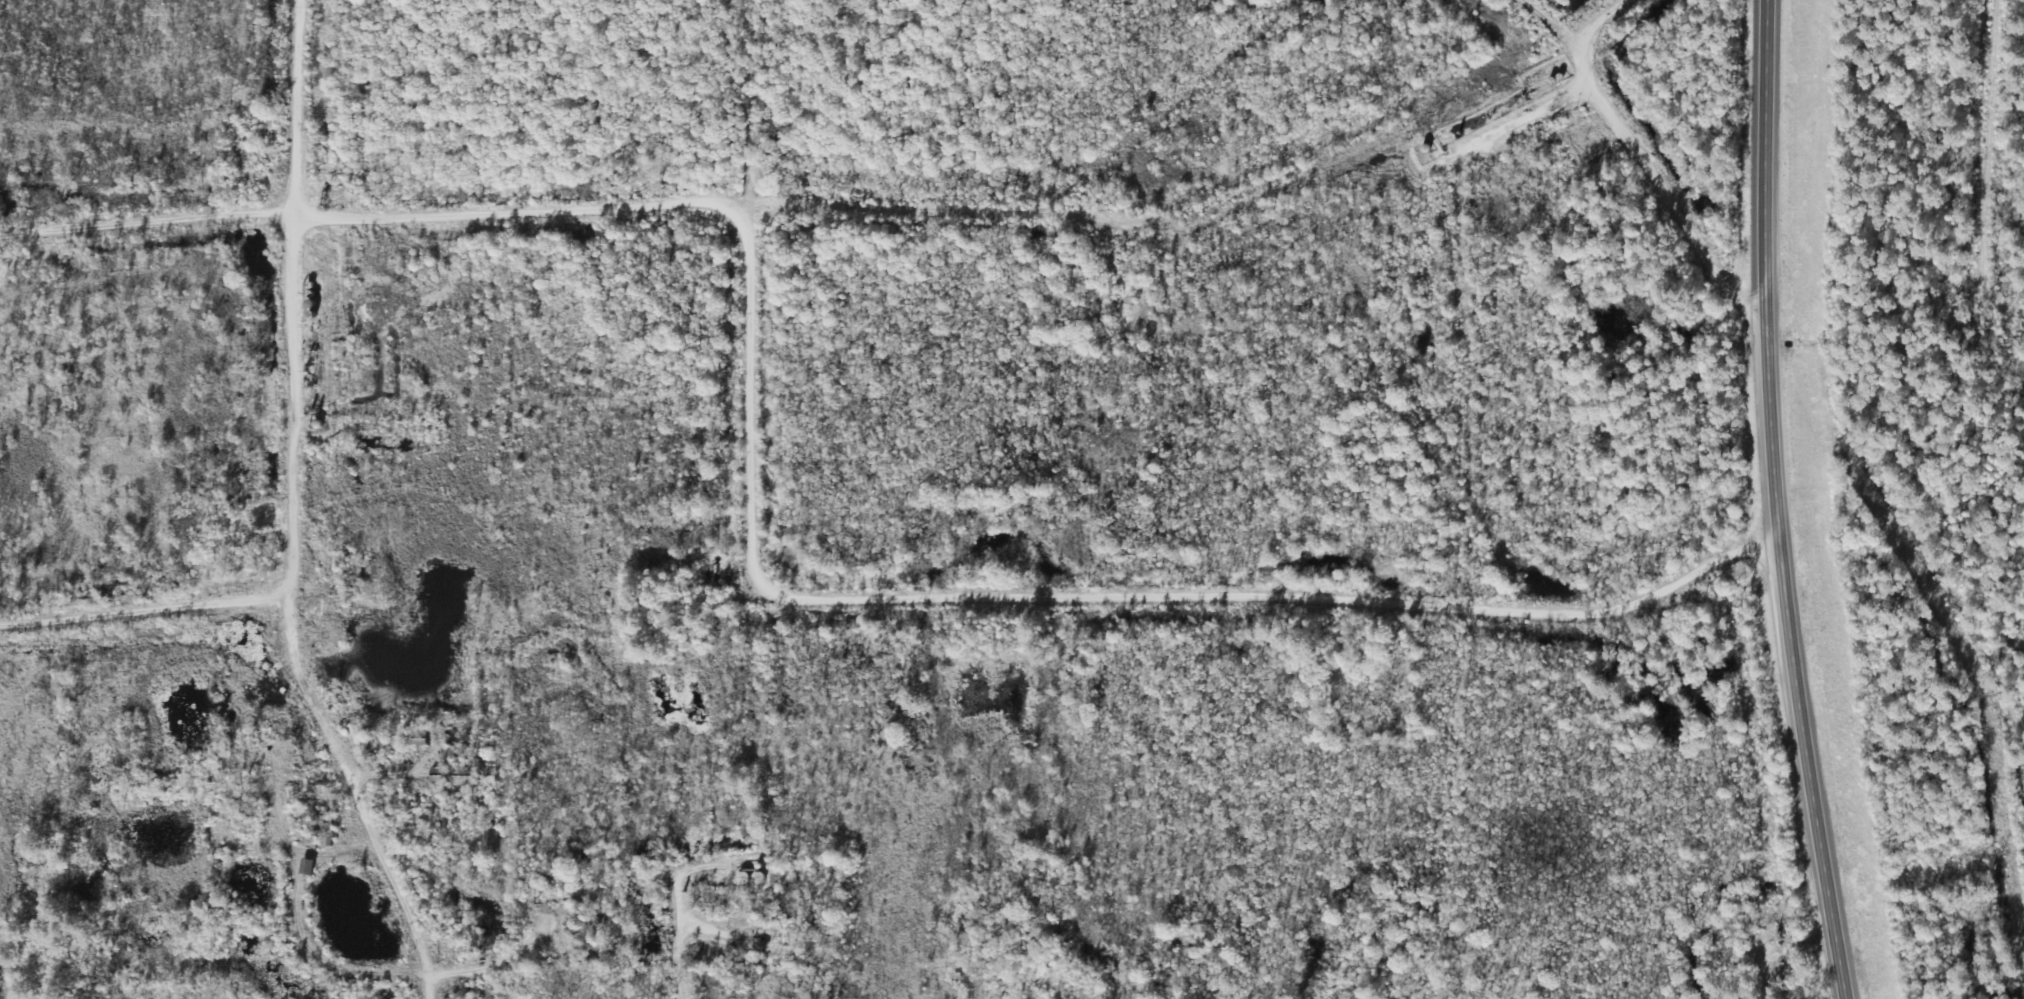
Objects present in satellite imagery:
road: (1566, 18)
road: (1989, 141)
road: (1635, 162)
road: (539, 196)
road: (284, 297)
road: (1775, 501)
road: (1296, 582)
road: (314, 666)
building: (448, 756)
building: (455, 776)
building: (326, 833)
building: (307, 867)
building: (743, 878)
building: (758, 878)
road: (668, 913)
road: (1313, 979)
road: (1028, 987)

